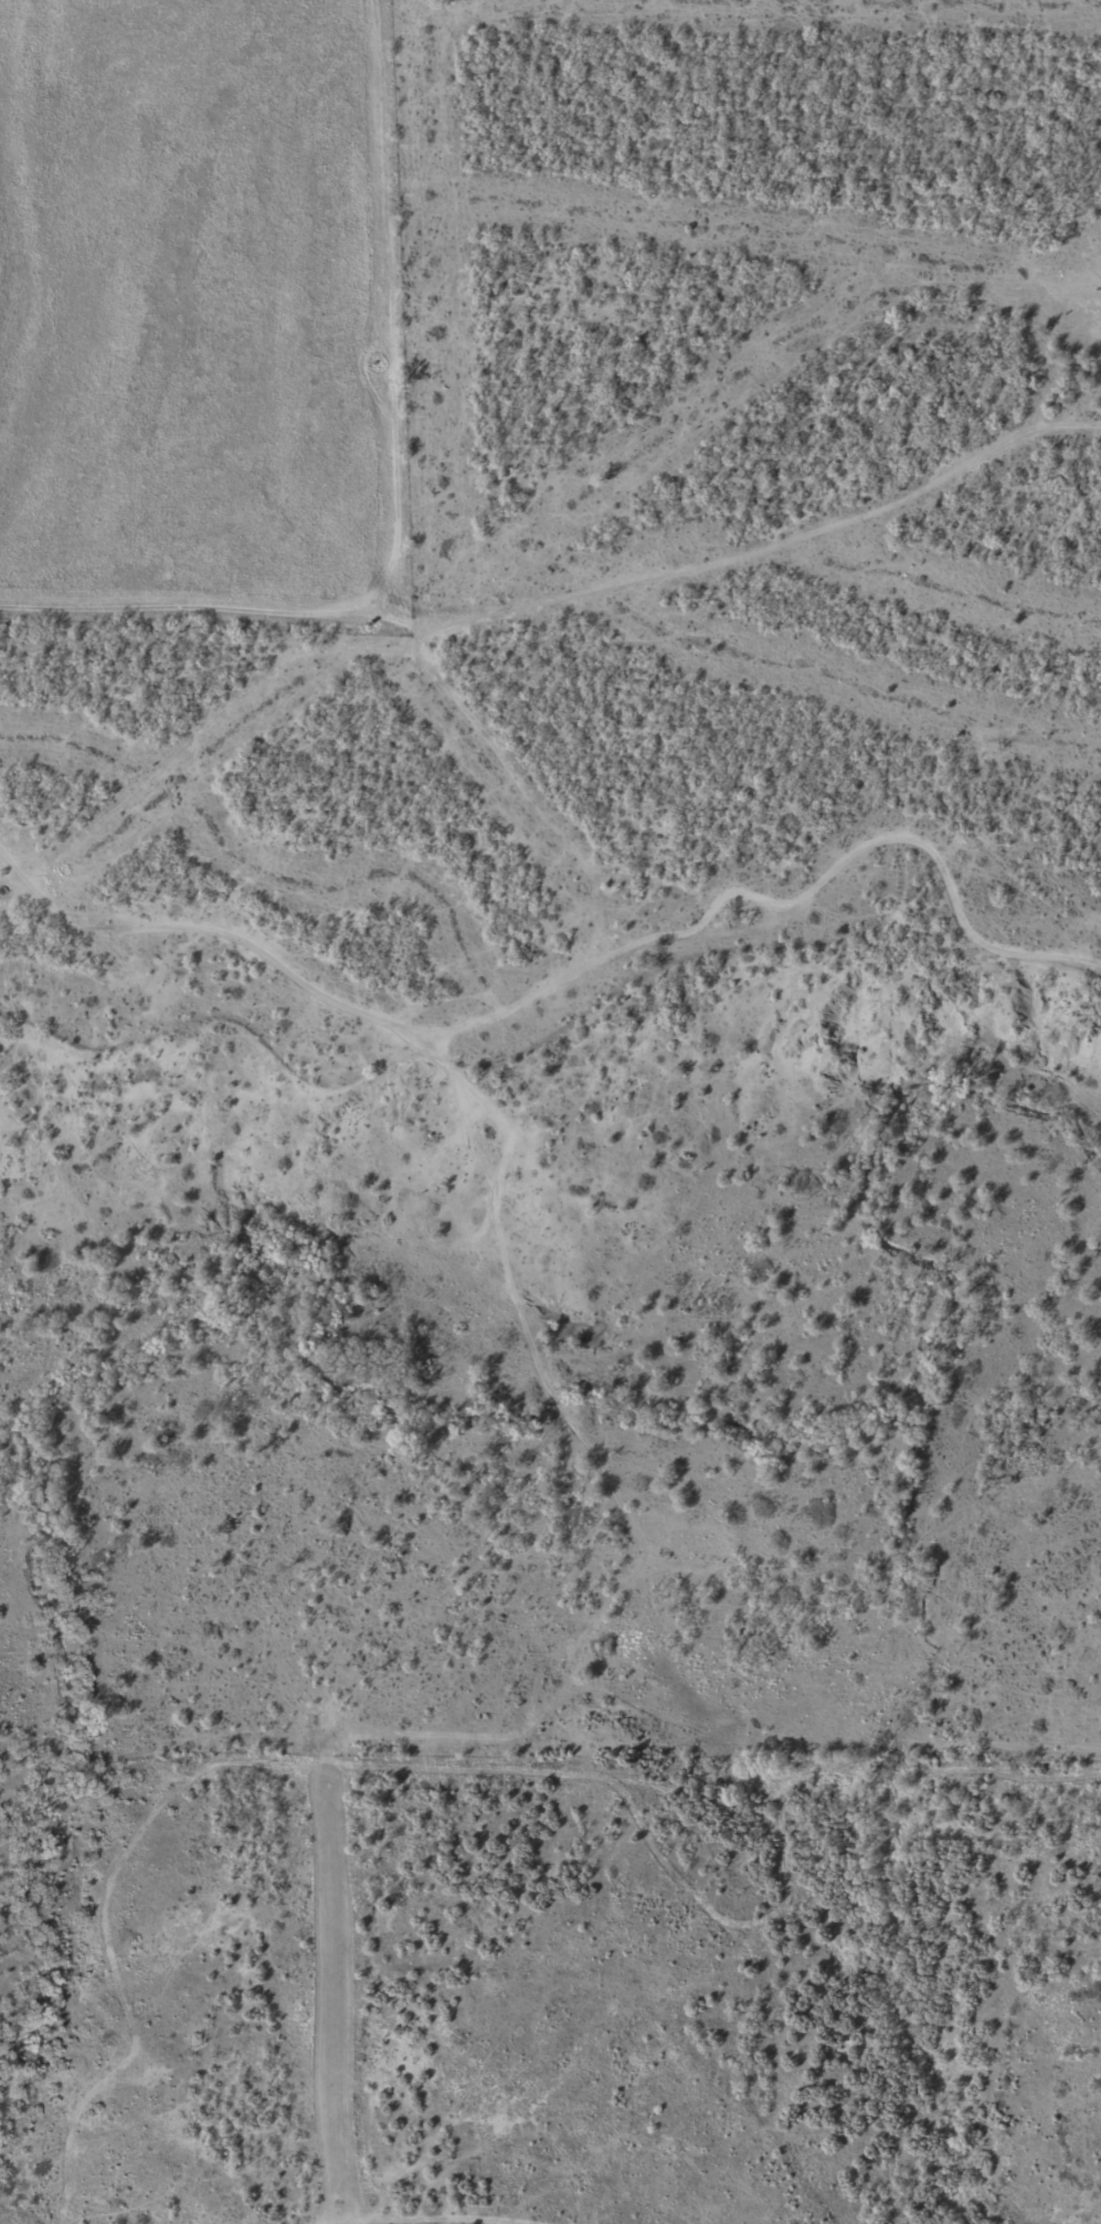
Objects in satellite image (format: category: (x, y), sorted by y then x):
road: (560, 594)

